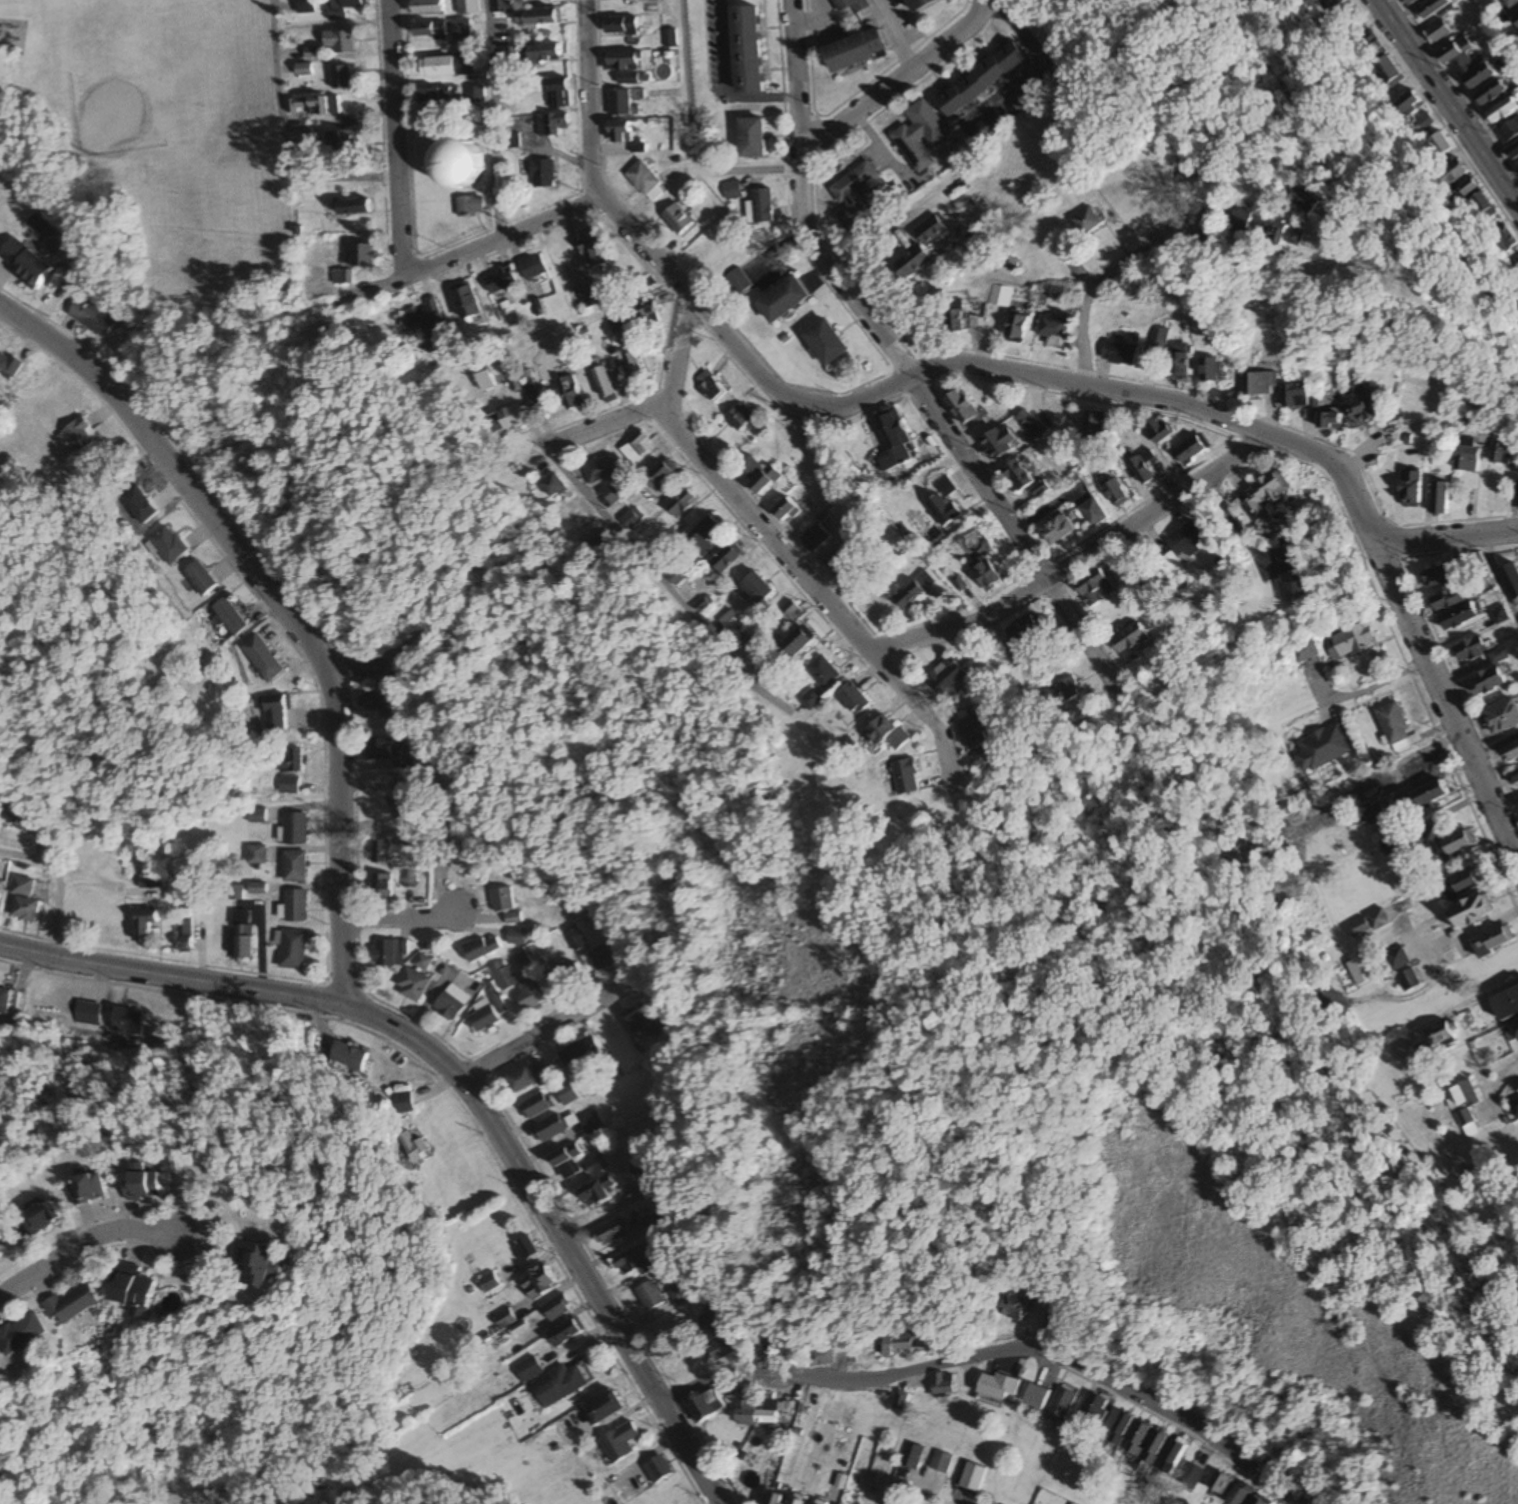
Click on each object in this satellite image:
building: (920, 4)
road: (896, 78)
park: (133, 95)
road: (1448, 102)
road: (488, 119)
park: (160, 126)
road: (394, 133)
road: (688, 134)
road: (281, 138)
water tower: (447, 177)
road: (798, 206)
road: (501, 237)
road: (1182, 245)
road: (1091, 309)
road: (877, 395)
road: (979, 479)
road: (1233, 525)
road: (1444, 538)
road: (1072, 565)
road: (1498, 579)
road: (633, 584)
road: (814, 599)
road: (280, 605)
road: (1079, 627)
road: (1358, 692)
road: (1444, 706)
road: (1493, 747)
road: (54, 884)
road: (400, 919)
road: (870, 984)
road: (535, 1036)
road: (464, 1080)
road: (77, 1242)
road: (994, 1353)

